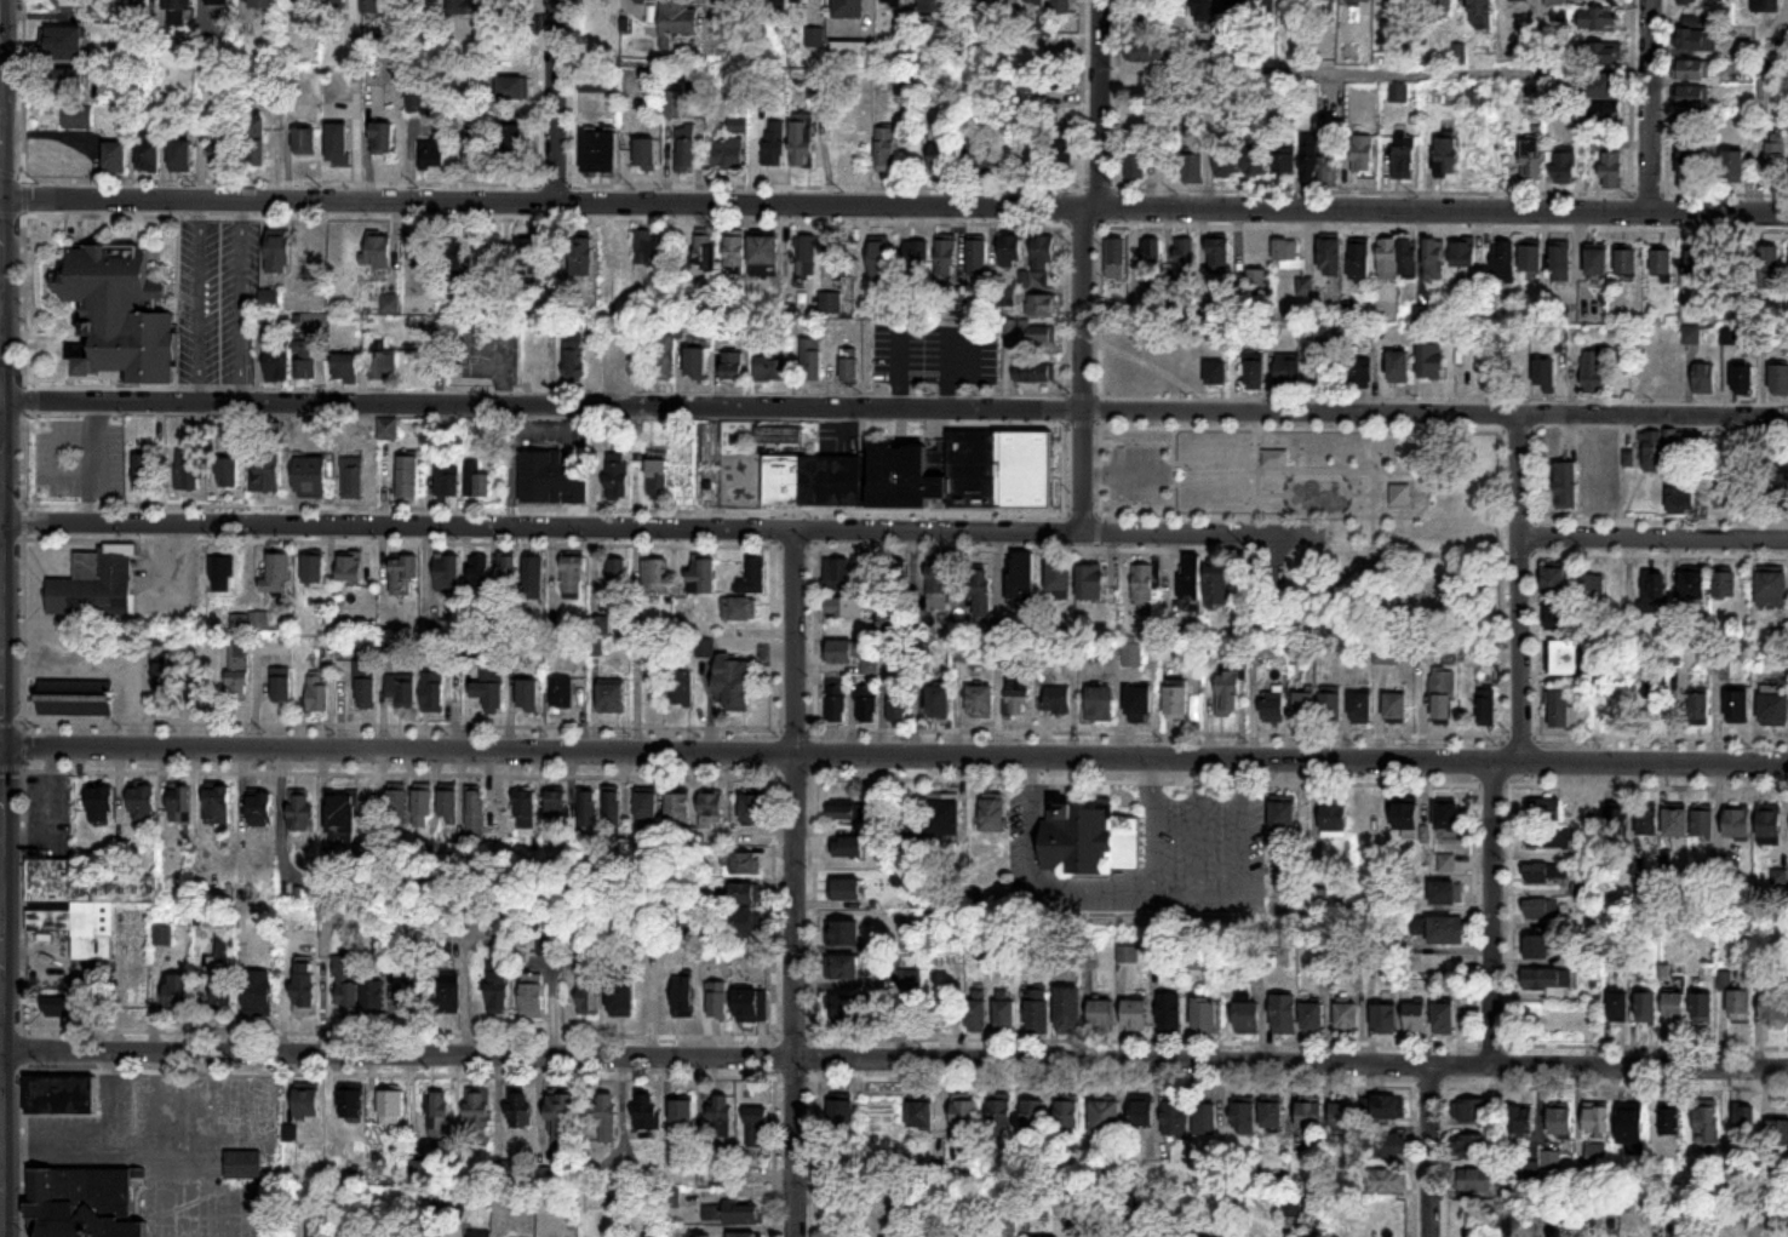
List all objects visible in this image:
building: (892, 0)
building: (1233, 0)
building: (1519, 0)
building: (299, 1)
building: (502, 1)
building: (1013, 1)
building: (1296, 1)
building: (1360, 1)
building: (1687, 1)
building: (1715, 1)
building: (1035, 2)
building: (1557, 2)
building: (65, 4)
building: (980, 4)
building: (176, 5)
building: (262, 5)
building: (395, 5)
building: (776, 5)
building: (368, 6)
building: (1440, 6)
building: (1771, 6)
building: (459, 7)
building: (934, 7)
building: (1062, 7)
building: (848, 8)
building: (1398, 8)
building: (1267, 10)
building: (1204, 11)
building: (1326, 12)
building: (1482, 15)
building: (676, 21)
building: (1598, 21)
building: (815, 38)
building: (1695, 40)
building: (61, 44)
building: (904, 46)
building: (1148, 53)
building: (1601, 53)
building: (850, 55)
building: (1692, 70)
building: (63, 80)
building: (1056, 80)
building: (1599, 86)
building: (511, 88)
building: (414, 93)
building: (1694, 96)
road: (556, 101)
road: (1100, 103)
building: (674, 104)
road: (1650, 107)
building: (1606, 115)
building: (75, 118)
building: (382, 139)
building: (304, 143)
building: (253, 144)
building: (773, 144)
building: (801, 145)
building: (509, 148)
building: (220, 150)
building: (475, 150)
building: (884, 150)
building: (432, 153)
building: (147, 154)
building: (598, 154)
building: (980, 154)
building: (684, 155)
building: (727, 155)
building: (1363, 155)
building: (643, 156)
building: (1061, 156)
building: (113, 158)
building: (178, 158)
building: (939, 158)
building: (1404, 158)
road: (1666, 158)
building: (1446, 159)
building: (1691, 160)
building: (1775, 162)
building: (1284, 164)
building: (1318, 164)
building: (1226, 165)
building: (1255, 166)
building: (1564, 166)
building: (1733, 167)
building: (1134, 168)
building: (1531, 170)
building: (1193, 171)
building: (1611, 172)
road: (281, 181)
road: (573, 183)
road: (830, 184)
road: (24, 185)
road: (1099, 187)
road: (1376, 189)
road: (893, 206)
road: (12, 216)
road: (544, 218)
road: (1082, 225)
road: (1443, 228)
building: (734, 247)
building: (649, 248)
building: (763, 248)
building: (1010, 250)
building: (1286, 250)
building: (277, 251)
building: (314, 251)
building: (377, 251)
building: (704, 251)
building: (1217, 251)
building: (420, 252)
building: (1043, 252)
building: (1330, 252)
building: (486, 253)
building: (1186, 253)
building: (1463, 253)
building: (526, 254)
building: (580, 254)
building: (451, 256)
building: (808, 256)
building: (916, 256)
building: (945, 256)
building: (1398, 256)
building: (877, 257)
building: (976, 257)
building: (1531, 257)
building: (1116, 258)
building: (1433, 258)
building: (1506, 258)
building: (839, 259)
building: (1359, 259)
building: (1597, 260)
building: (1627, 260)
building: (1151, 263)
building: (1561, 263)
building: (1663, 263)
building: (1769, 265)
building: (1695, 276)
building: (1257, 280)
building: (1305, 286)
road: (176, 299)
road: (199, 300)
building: (390, 300)
road: (239, 302)
building: (830, 302)
building: (1041, 304)
road: (1099, 310)
road: (1065, 311)
building: (118, 313)
building: (1038, 333)
building: (571, 356)
building: (660, 356)
building: (812, 359)
building: (1431, 359)
building: (308, 360)
building: (382, 361)
building: (694, 362)
building: (277, 363)
building: (1399, 365)
building: (732, 366)
building: (345, 367)
building: (768, 367)
building: (849, 367)
building: (1113, 367)
building: (1036, 371)
road: (1083, 371)
building: (1362, 372)
building: (1254, 373)
building: (1545, 373)
building: (1216, 374)
building: (1288, 374)
building: (1594, 374)
building: (1704, 377)
building: (1742, 378)
building: (1780, 378)
road: (57, 384)
road: (1083, 396)
road: (1443, 402)
road: (894, 407)
road: (1068, 410)
road: (1098, 410)
road: (710, 417)
road: (1083, 423)
road: (1316, 426)
road: (1658, 426)
building: (270, 428)
building: (388, 429)
building: (779, 434)
building: (1589, 440)
building: (1677, 441)
road: (1111, 445)
building: (1654, 449)
building: (1274, 454)
road: (1122, 457)
road: (1257, 463)
road: (1064, 466)
building: (265, 468)
building: (921, 469)
road: (1347, 469)
building: (187, 470)
building: (227, 470)
road: (1129, 470)
parking lot: (1137, 470)
road: (1175, 470)
road: (1186, 470)
road: (1372, 470)
building: (147, 471)
building: (310, 474)
building: (552, 476)
building: (351, 477)
building: (407, 477)
building: (657, 477)
building: (615, 479)
building: (446, 480)
building: (475, 481)
building: (1566, 483)
road: (1101, 485)
road: (1346, 488)
water park: (1317, 489)
road: (1273, 491)
road: (1368, 491)
road: (1399, 491)
road: (1417, 491)
building: (1727, 491)
building: (1781, 491)
building: (1400, 493)
building: (1601, 496)
building: (1681, 497)
road: (334, 506)
road: (1217, 515)
park: (1333, 516)
road: (1515, 519)
road: (24, 521)
road: (541, 527)
road: (1204, 533)
road: (1253, 533)
road: (1374, 533)
road: (1654, 537)
road: (793, 546)
road: (773, 548)
road: (1003, 549)
road: (1438, 552)
road: (1517, 554)
road: (1276, 559)
building: (349, 567)
building: (313, 568)
road: (1372, 569)
building: (277, 571)
building: (220, 572)
building: (401, 572)
building: (446, 572)
building: (477, 573)
building: (615, 573)
building: (703, 574)
building: (835, 574)
road: (1394, 574)
building: (506, 575)
building: (654, 575)
building: (1192, 575)
building: (532, 577)
building: (572, 577)
building: (1061, 577)
building: (752, 578)
building: (896, 578)
building: (1021, 579)
road: (1345, 579)
building: (1555, 579)
building: (1091, 580)
road: (1535, 580)
road: (1502, 582)
building: (94, 583)
building: (1692, 583)
building: (1724, 583)
building: (936, 585)
building: (1594, 585)
building: (1771, 586)
building: (1217, 588)
road: (1519, 588)
building: (1144, 589)
building: (1654, 589)
building: (981, 594)
building: (844, 605)
building: (738, 608)
building: (1559, 617)
building: (259, 620)
building: (890, 623)
building: (839, 651)
building: (1131, 653)
building: (1387, 654)
building: (1565, 657)
building: (869, 664)
building: (237, 668)
building: (162, 678)
building: (730, 682)
building: (281, 683)
building: (365, 685)
building: (489, 687)
building: (681, 687)
building: (401, 689)
building: (431, 692)
building: (316, 693)
building: (1227, 693)
building: (527, 694)
building: (561, 694)
building: (1016, 695)
building: (1652, 695)
building: (1442, 697)
building: (609, 698)
building: (1055, 699)
building: (938, 700)
building: (980, 700)
building: (1137, 700)
building: (1176, 700)
building: (74, 703)
building: (835, 703)
building: (866, 703)
building: (895, 703)
building: (1099, 703)
building: (1738, 705)
building: (1331, 706)
building: (1360, 706)
building: (1396, 706)
building: (1700, 706)
building: (1303, 708)
building: (1485, 708)
building: (1773, 708)
building: (1272, 709)
building: (1560, 709)
building: (1615, 715)
road: (1520, 737)
road: (24, 744)
road: (893, 757)
road: (776, 775)
road: (1, 800)
building: (99, 802)
building: (396, 802)
building: (142, 803)
building: (422, 803)
building: (446, 803)
building: (217, 806)
building: (646, 806)
building: (525, 807)
building: (178, 808)
building: (259, 808)
building: (555, 808)
building: (753, 808)
building: (300, 809)
building: (612, 809)
building: (676, 809)
building: (1545, 809)
building: (586, 811)
building: (710, 811)
building: (846, 811)
building: (342, 813)
building: (474, 813)
building: (991, 813)
building: (1405, 814)
building: (1283, 817)
building: (1370, 817)
building: (1446, 817)
building: (1334, 818)
building: (941, 819)
building: (1646, 819)
building: (1615, 821)
building: (1675, 821)
building: (1737, 821)
building: (1703, 823)
road: (1151, 824)
road: (1199, 824)
building: (1770, 826)
building: (1088, 838)
building: (1549, 840)
building: (848, 847)
building: (1448, 863)
building: (745, 864)
building: (1546, 875)
building: (50, 880)
road: (796, 883)
road: (1137, 888)
building: (847, 889)
building: (746, 893)
building: (1446, 893)
building: (1540, 907)
building: (101, 914)
road: (1492, 916)
building: (50, 921)
building: (744, 922)
building: (1446, 929)
building: (843, 933)
building: (550, 946)
building: (1541, 947)
building: (843, 967)
building: (1547, 978)
building: (345, 985)
building: (304, 989)
building: (499, 991)
building: (177, 992)
building: (449, 992)
building: (590, 992)
building: (220, 993)
building: (101, 995)
building: (134, 995)
building: (684, 996)
building: (373, 997)
building: (411, 997)
building: (533, 997)
building: (623, 998)
building: (1673, 998)
building: (718, 1000)
building: (257, 1002)
building: (64, 1004)
building: (751, 1004)
building: (1618, 1004)
building: (1740, 1004)
building: (909, 1006)
building: (1070, 1007)
building: (1647, 1007)
building: (1703, 1007)
building: (1775, 1008)
building: (852, 1009)
building: (1005, 1009)
building: (1038, 1010)
building: (1169, 1012)
building: (976, 1013)
building: (1102, 1014)
building: (1136, 1014)
building: (1205, 1014)
building: (1284, 1014)
building: (1248, 1015)
building: (1347, 1015)
building: (1313, 1016)
building: (938, 1018)
building: (1386, 1018)
building: (1416, 1018)
building: (1444, 1019)
road: (773, 1037)
road: (894, 1063)
building: (61, 1095)
road: (113, 1103)
road: (156, 1103)
building: (306, 1103)
building: (350, 1104)
building: (1383, 1106)
building: (391, 1107)
building: (478, 1107)
road: (246, 1109)
building: (520, 1109)
building: (440, 1111)
building: (647, 1111)
building: (682, 1111)
building: (1472, 1111)
building: (1142, 1112)
building: (562, 1113)
building: (965, 1113)
building: (1271, 1113)
building: (1343, 1113)
building: (922, 1115)
building: (1001, 1115)
building: (1310, 1115)
building: (607, 1116)
building: (722, 1117)
building: (1244, 1117)
building: (1033, 1118)
building: (1175, 1118)
building: (1204, 1118)
building: (1105, 1119)
building: (1519, 1119)
building: (1598, 1119)
building: (1067, 1121)
building: (1561, 1122)
building: (1669, 1123)
building: (842, 1124)
building: (1708, 1126)
building: (1632, 1127)
building: (757, 1130)
building: (1777, 1135)
building: (1387, 1145)
building: (1473, 1145)
road: (105, 1149)
road: (1433, 1152)
building: (243, 1166)
road: (1, 1172)
building: (1387, 1180)
building: (1472, 1180)
road: (168, 1193)
road: (228, 1195)
building: (671, 1198)
building: (85, 1202)
building: (730, 1214)
building: (430, 1235)
building: (743, 1235)
building: (917, 1235)
building: (397, 1236)

